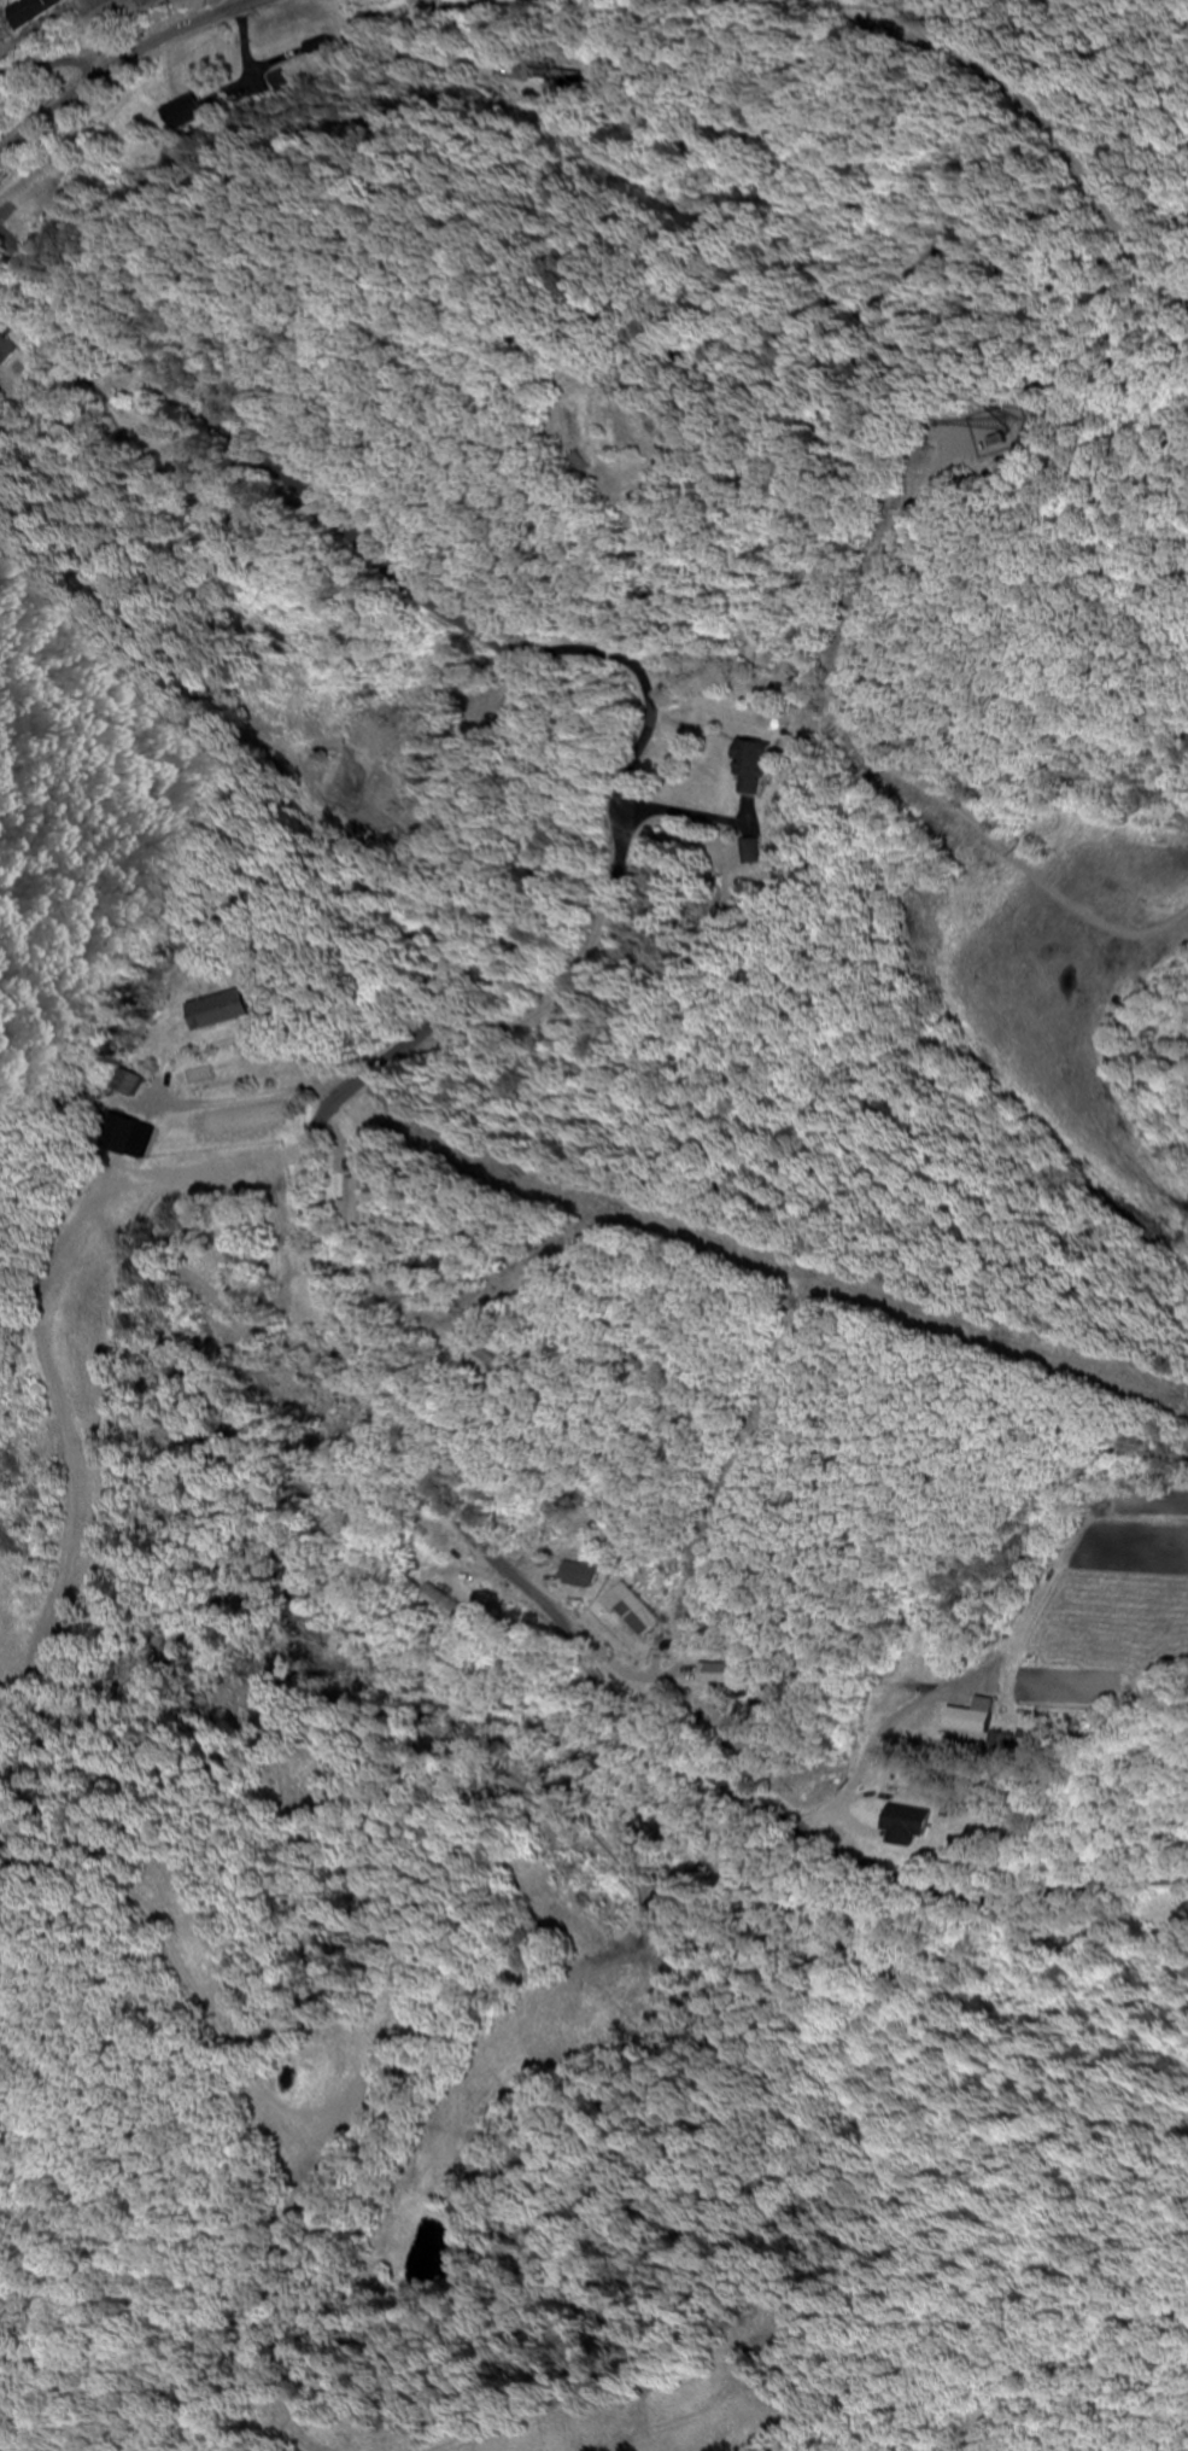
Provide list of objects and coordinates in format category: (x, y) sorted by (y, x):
building: (30, 11)
road: (125, 63)
road: (30, 86)
building: (194, 113)
building: (757, 768)
road: (844, 777)
road: (306, 848)
building: (222, 1011)
building: (136, 1140)
road: (305, 1163)
road: (529, 1337)
building: (577, 1575)
building: (637, 1616)
building: (722, 1675)
building: (968, 1718)
building: (911, 1825)

